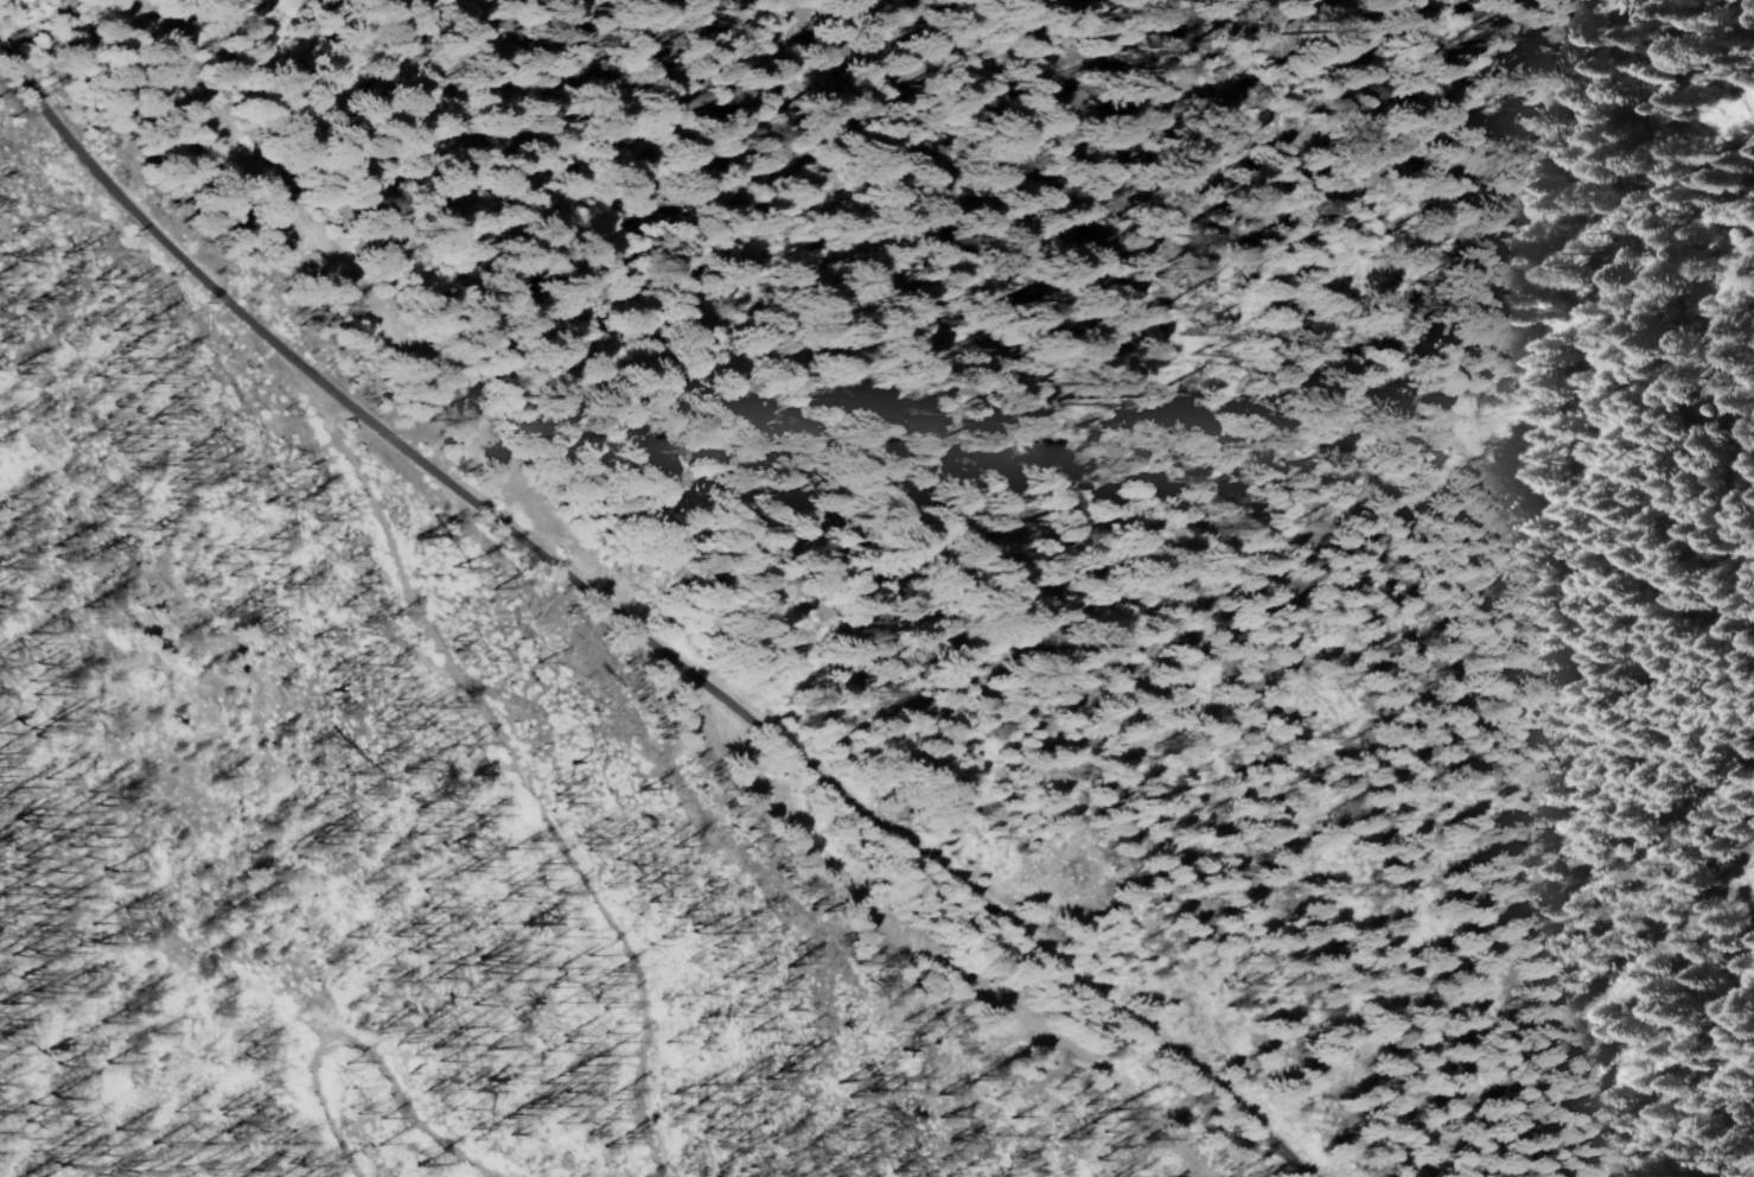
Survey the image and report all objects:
road: (1380, 377)
road: (659, 622)

